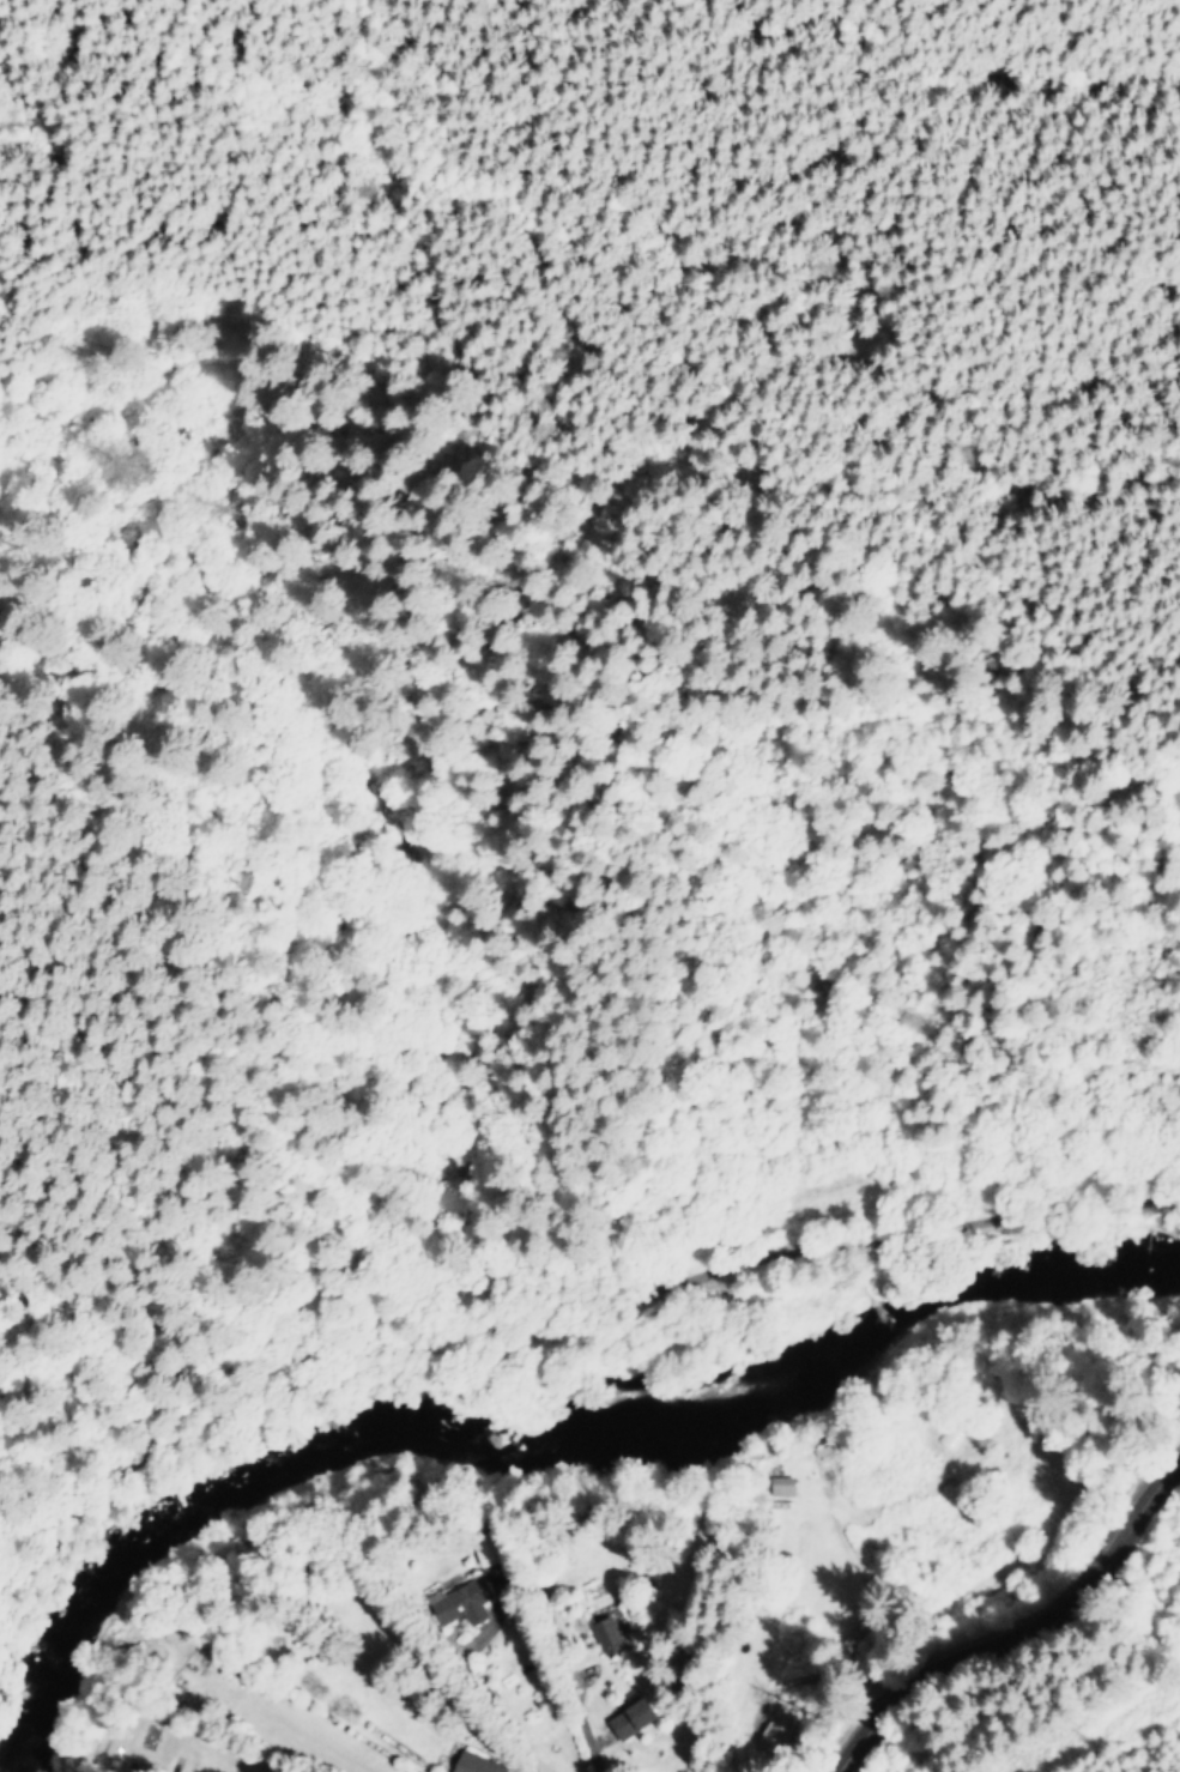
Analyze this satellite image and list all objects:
road: (674, 326)
road: (559, 1275)
river: (541, 1438)
building: (776, 1486)
building: (456, 1602)
road: (1022, 1629)
building: (601, 1634)
building: (847, 1643)
building: (624, 1718)
building: (769, 1731)
building: (470, 1764)

